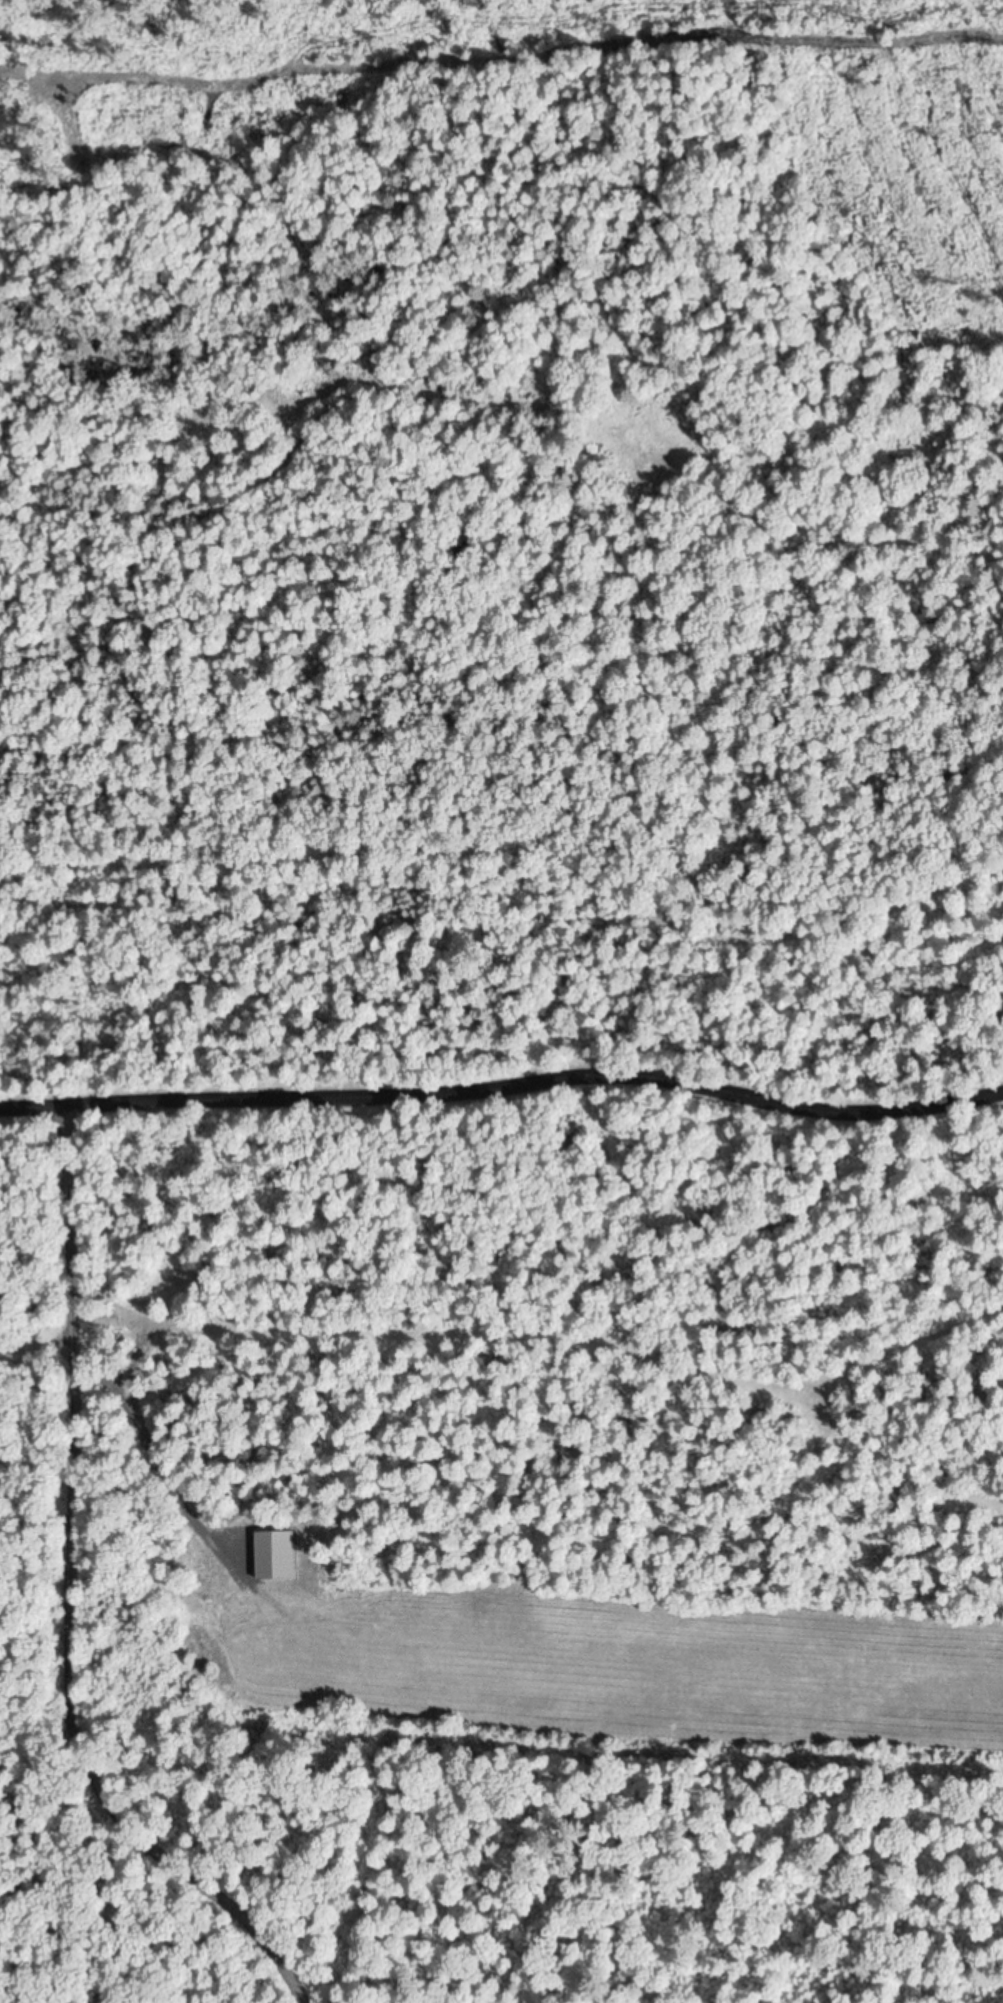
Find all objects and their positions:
road: (502, 37)
road: (521, 1082)
road: (17, 1109)
road: (46, 1369)
road: (61, 1595)
airport runway: (615, 1661)

